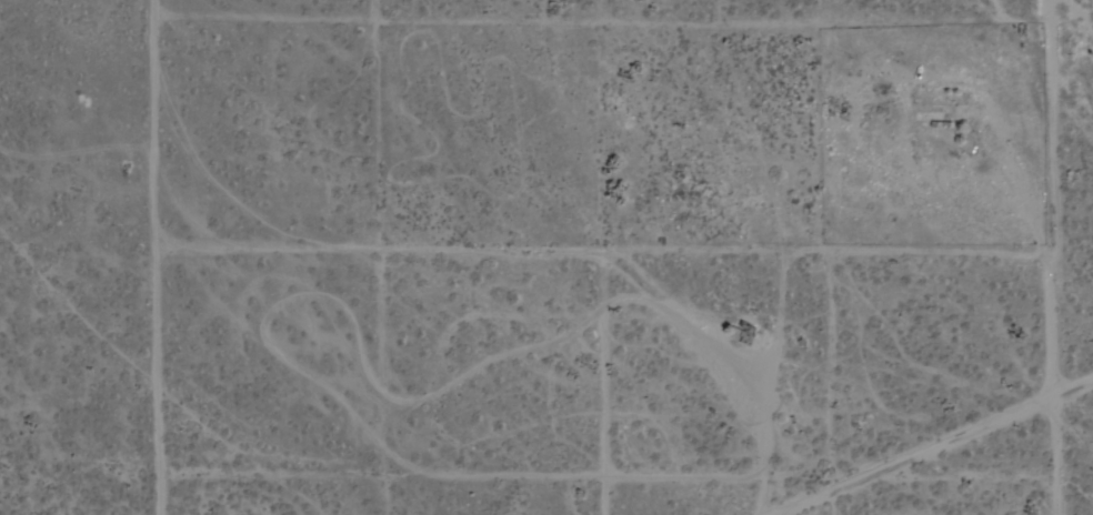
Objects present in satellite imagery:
road: (467, 250)
road: (1053, 256)
road: (951, 456)

